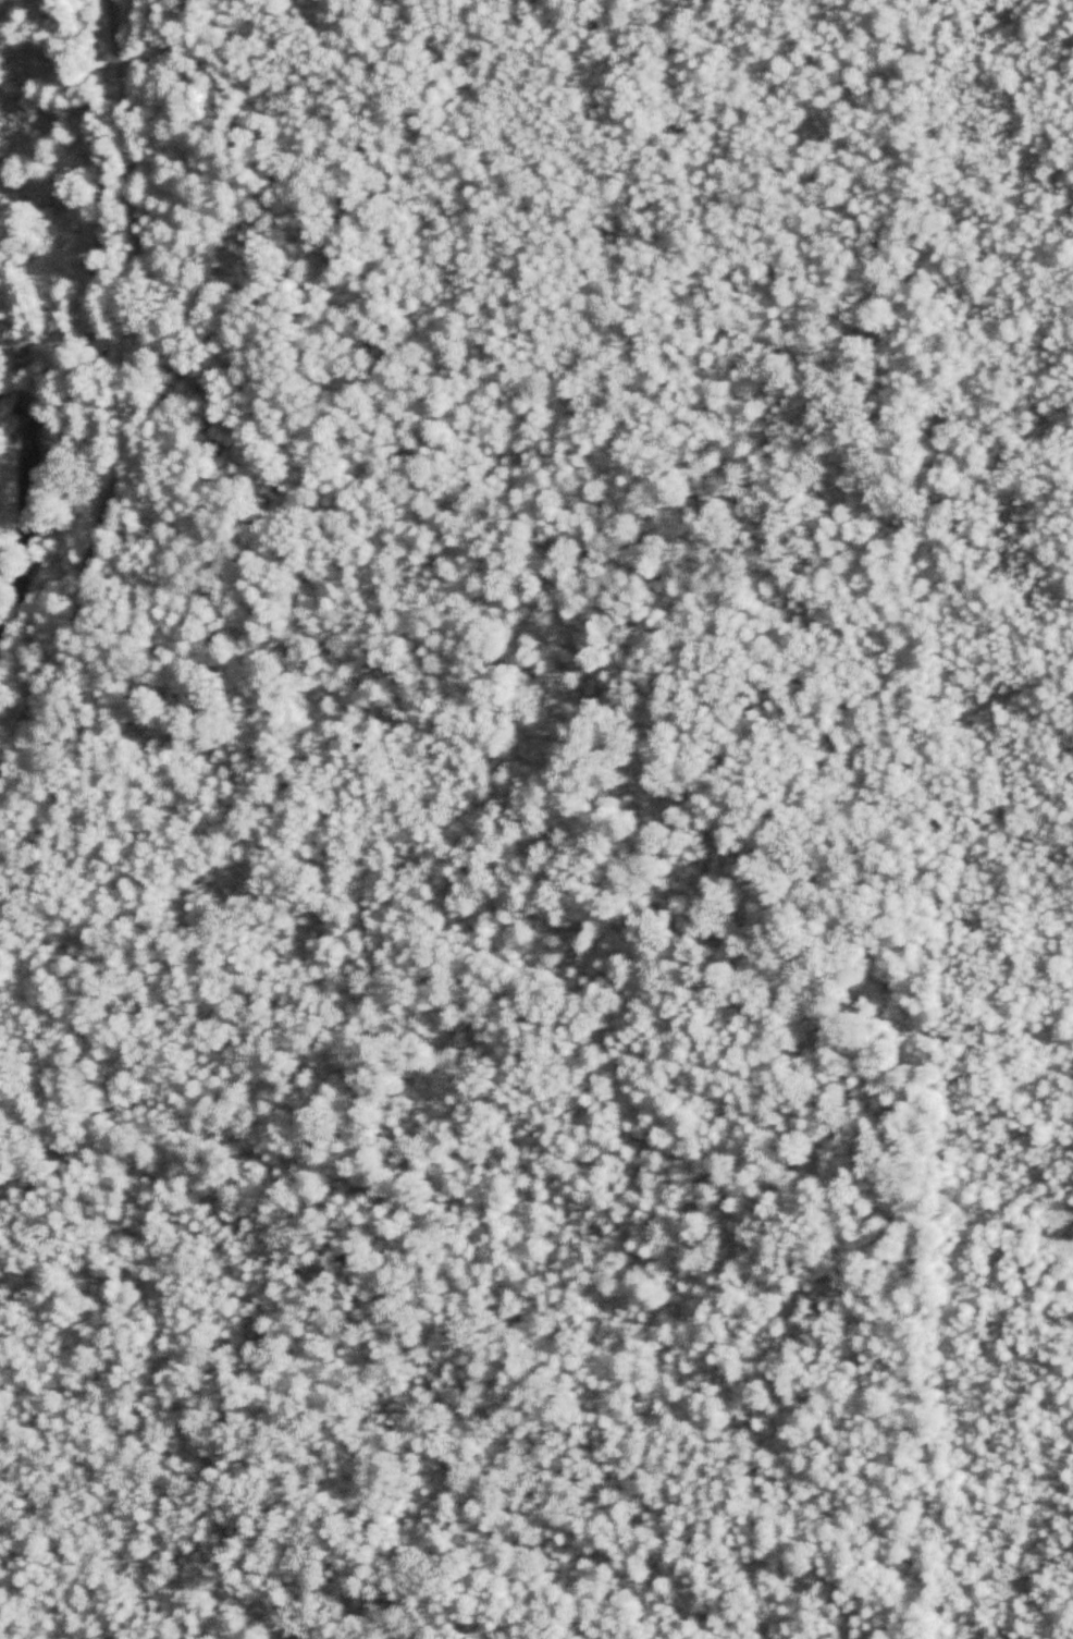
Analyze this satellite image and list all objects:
road: (149, 401)

